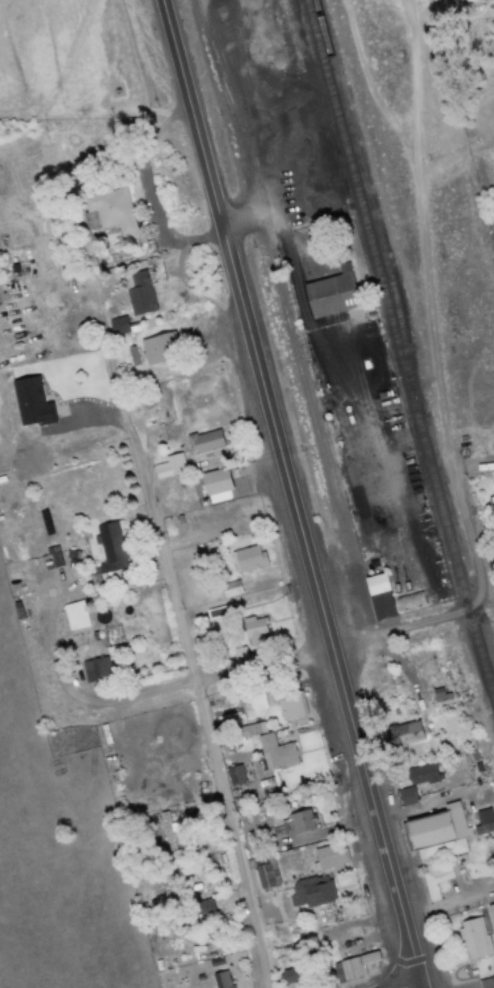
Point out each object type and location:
road: (410, 74)
road: (95, 151)
railway: (369, 207)
building: (111, 209)
building: (144, 283)
building: (330, 293)
road: (427, 301)
building: (115, 325)
building: (156, 347)
railway: (393, 347)
building: (30, 402)
building: (202, 440)
building: (169, 465)
building: (215, 485)
road: (288, 493)
road: (13, 496)
road: (49, 535)
building: (110, 551)
building: (247, 557)
building: (230, 588)
building: (379, 596)
building: (404, 603)
road: (481, 608)
building: (75, 615)
road: (181, 625)
building: (253, 627)
road: (269, 662)
building: (96, 669)
building: (256, 700)
building: (289, 704)
building: (249, 730)
building: (400, 734)
building: (275, 752)
building: (422, 773)
building: (234, 774)
building: (405, 796)
building: (300, 820)
building: (483, 821)
building: (437, 832)
road: (105, 849)
building: (329, 856)
building: (266, 874)
building: (311, 891)
building: (198, 910)
building: (490, 912)
building: (474, 937)
building: (354, 966)
building: (484, 967)
building: (287, 976)
building: (221, 979)
road: (405, 984)

